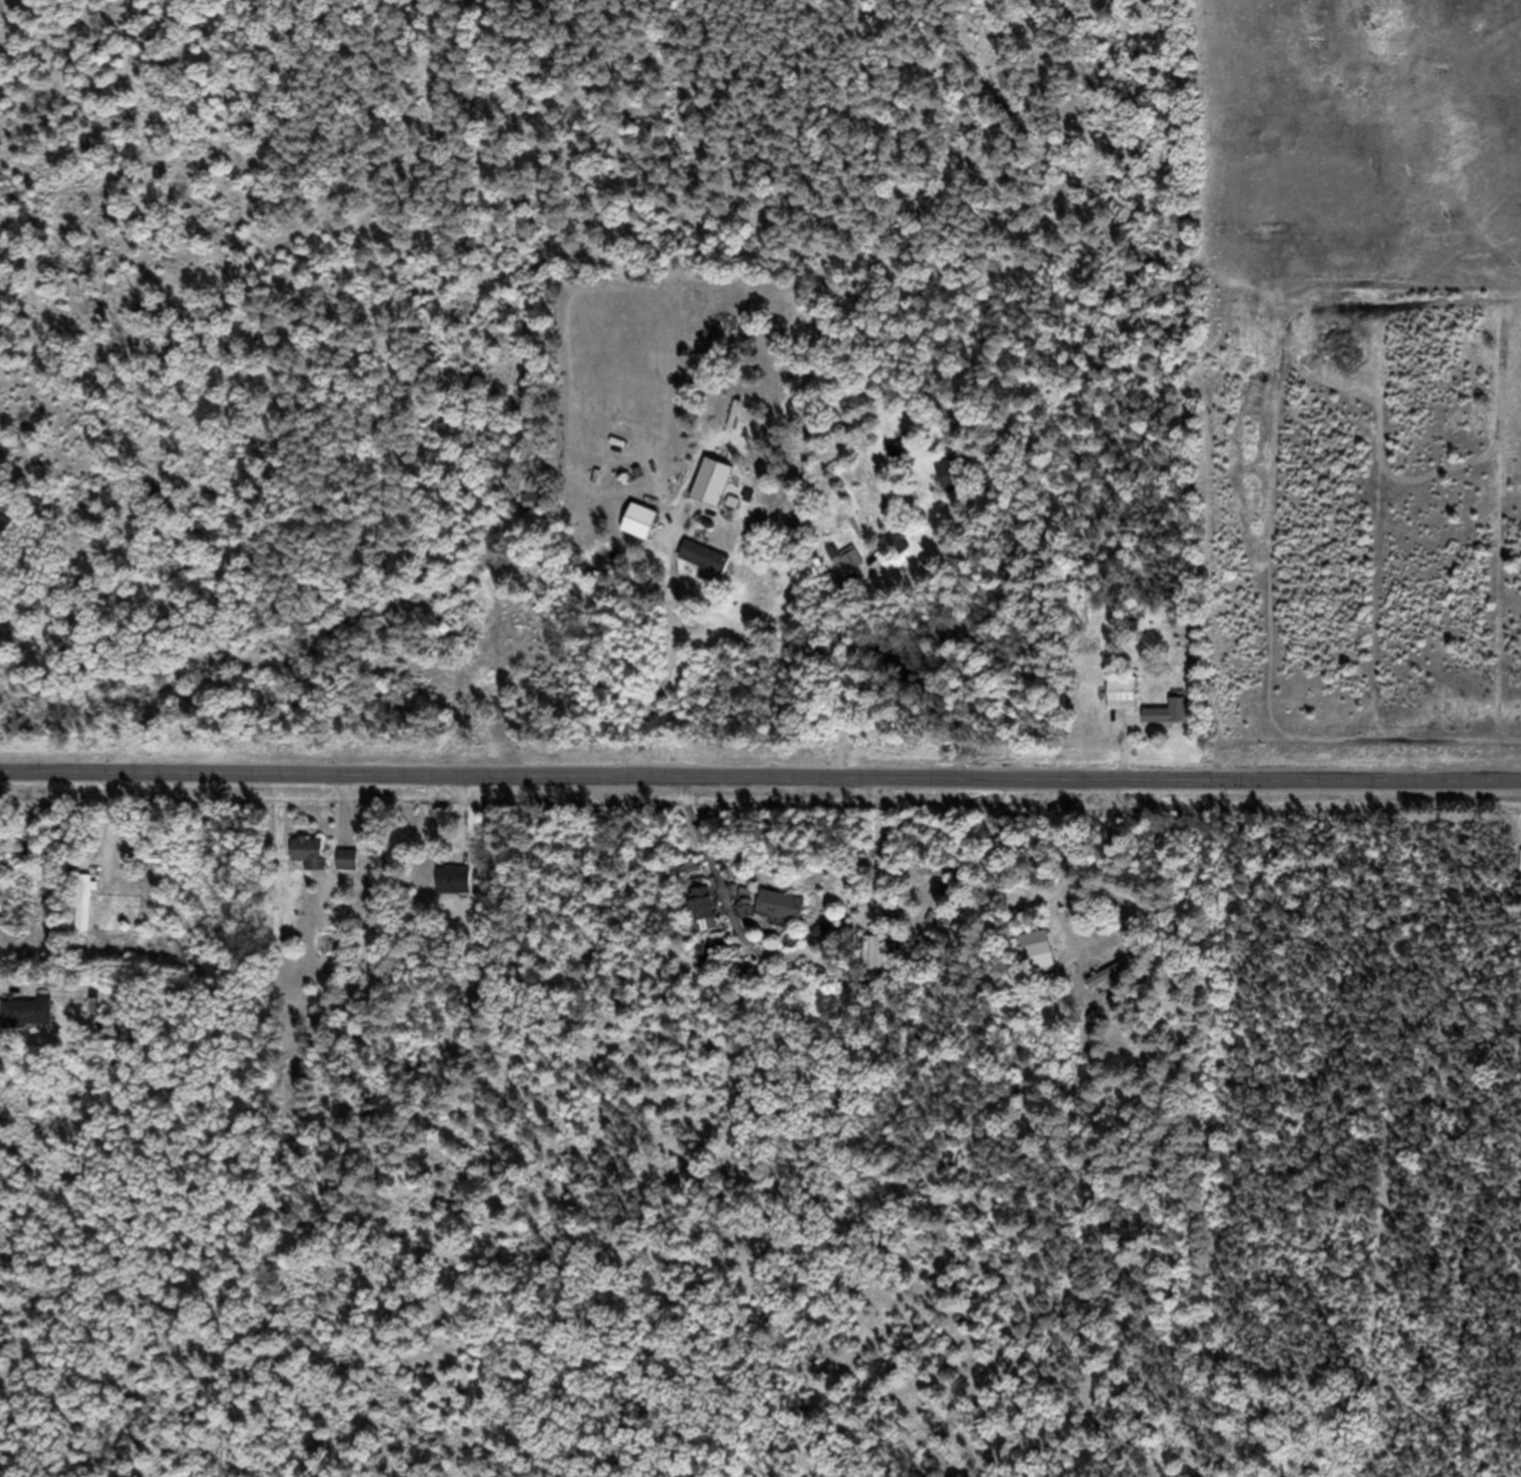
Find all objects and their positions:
airport: (1358, 143)
building: (905, 459)
building: (949, 484)
building: (711, 493)
building: (534, 513)
building: (638, 532)
building: (896, 554)
building: (703, 568)
building: (852, 570)
building: (1122, 704)
building: (1166, 724)
road: (760, 785)
building: (15, 855)
building: (309, 862)
building: (455, 889)
building: (5, 908)
building: (84, 912)
building: (779, 915)
building: (700, 918)
building: (18, 932)
building: (1036, 953)
building: (876, 964)
building: (1110, 984)
building: (26, 1022)
building: (958, 1171)

